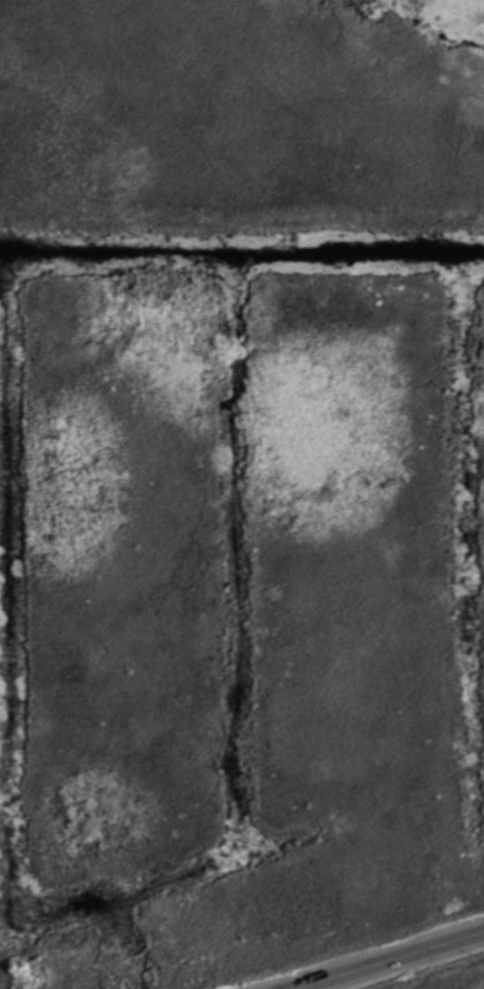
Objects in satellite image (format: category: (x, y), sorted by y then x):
road: (391, 960)

